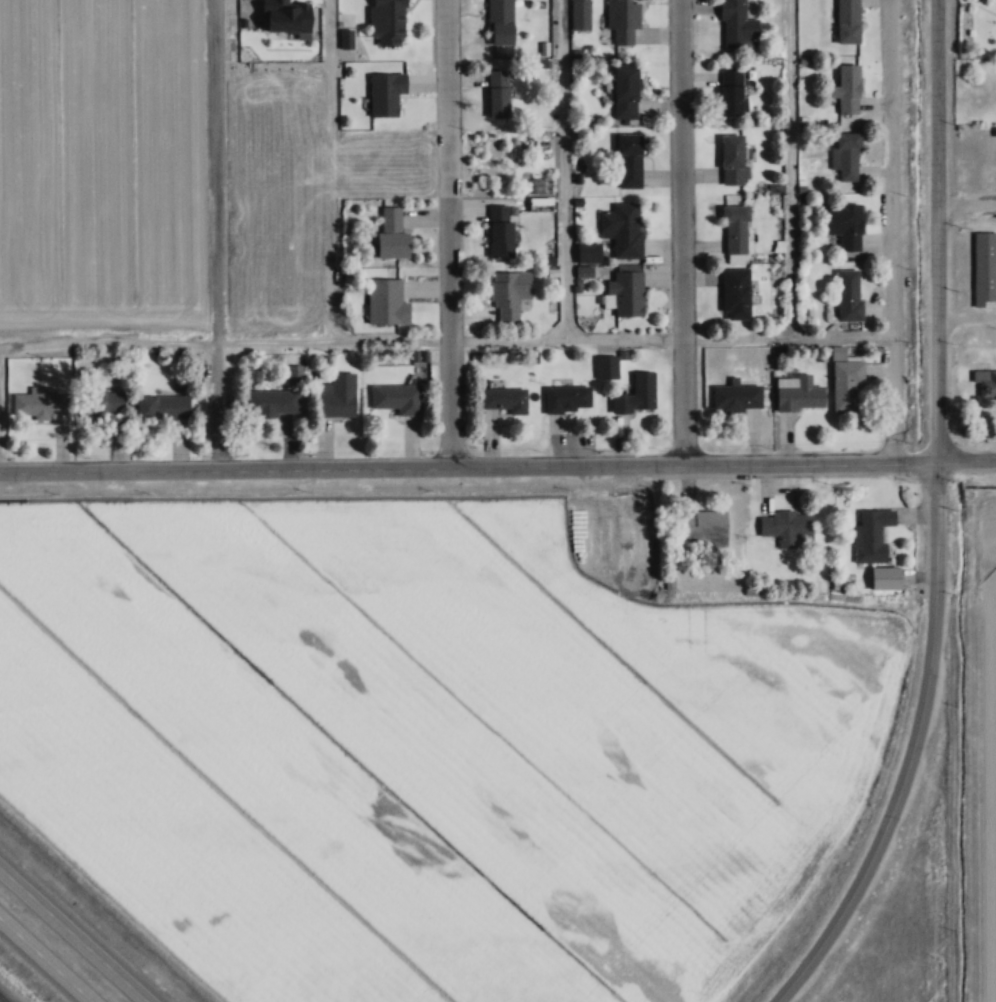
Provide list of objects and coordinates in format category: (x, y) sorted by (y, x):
building: (580, 15)
building: (286, 17)
building: (390, 17)
building: (624, 21)
building: (847, 21)
building: (500, 22)
building: (736, 23)
building: (846, 89)
building: (625, 92)
building: (730, 92)
building: (385, 94)
building: (498, 94)
building: (844, 156)
building: (733, 159)
building: (629, 161)
road: (795, 168)
road: (569, 169)
road: (331, 170)
building: (539, 183)
building: (540, 204)
road: (969, 206)
building: (844, 224)
building: (622, 228)
building: (735, 229)
road: (897, 230)
building: (501, 232)
road: (214, 233)
building: (391, 233)
road: (685, 233)
road: (451, 234)
building: (984, 267)
building: (509, 293)
building: (627, 293)
building: (735, 293)
building: (848, 294)
building: (386, 303)
road: (968, 317)
road: (559, 339)
road: (111, 345)
building: (845, 380)
building: (985, 382)
building: (636, 394)
building: (798, 394)
building: (337, 396)
building: (396, 398)
building: (737, 398)
building: (503, 399)
building: (566, 399)
building: (100, 402)
building: (41, 403)
building: (272, 403)
building: (162, 407)
road: (498, 467)
road: (937, 521)
building: (703, 527)
building: (787, 528)
building: (871, 535)
building: (885, 578)
building: (617, 581)
road: (74, 934)
road: (45, 959)
railway: (3, 998)

